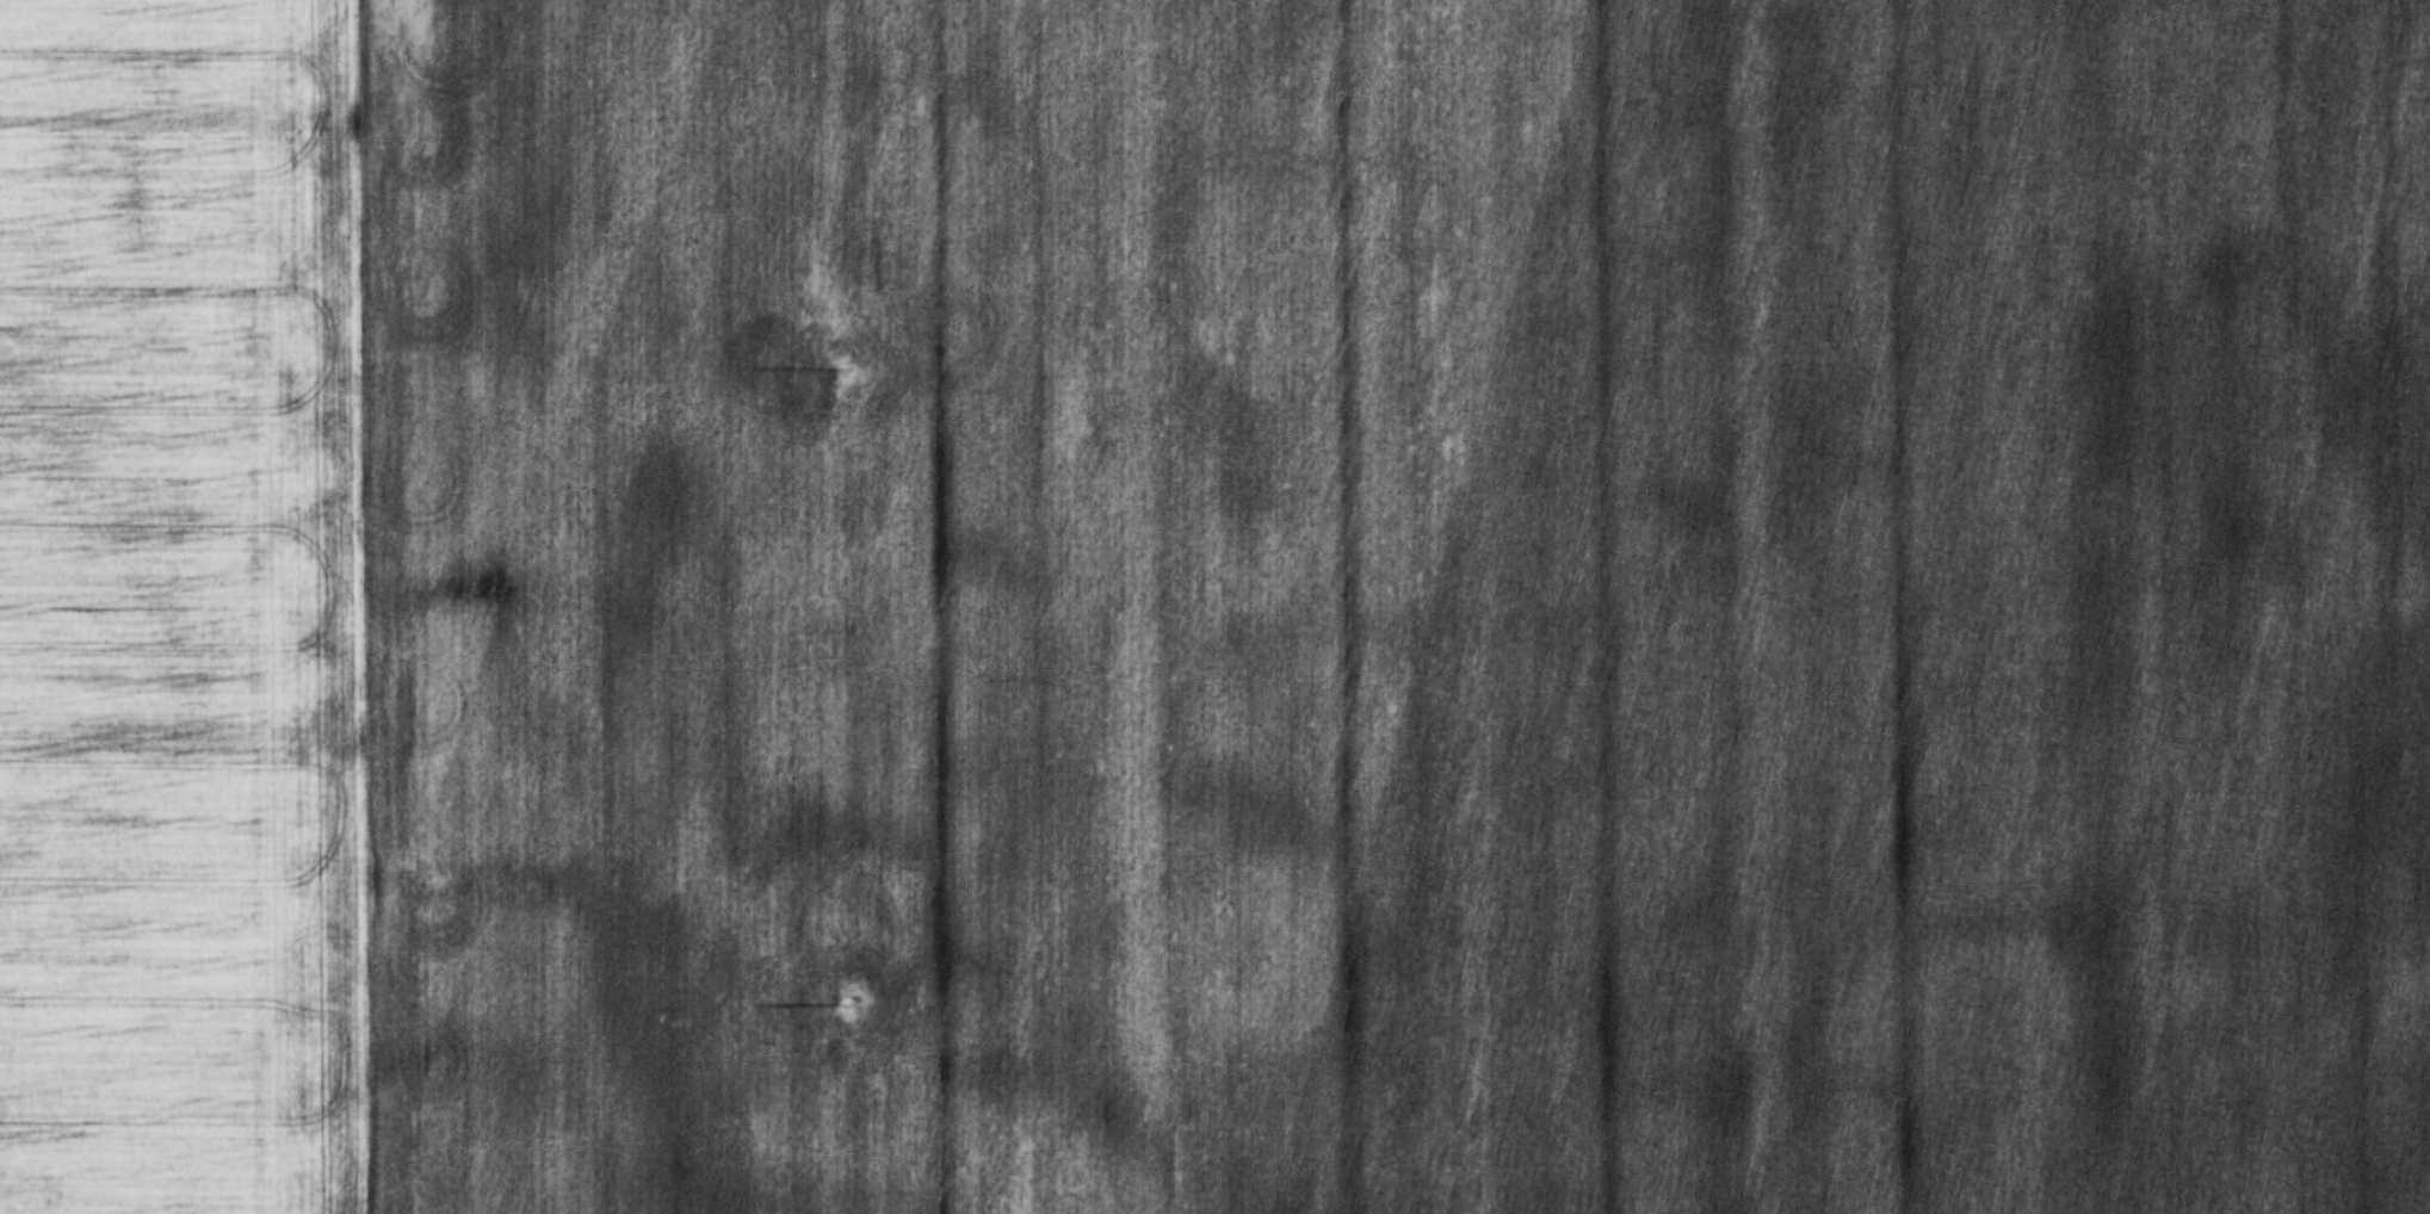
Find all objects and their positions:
power tower: (840, 367)
crop: (1399, 606)
crop: (184, 611)
power tower: (841, 1001)

